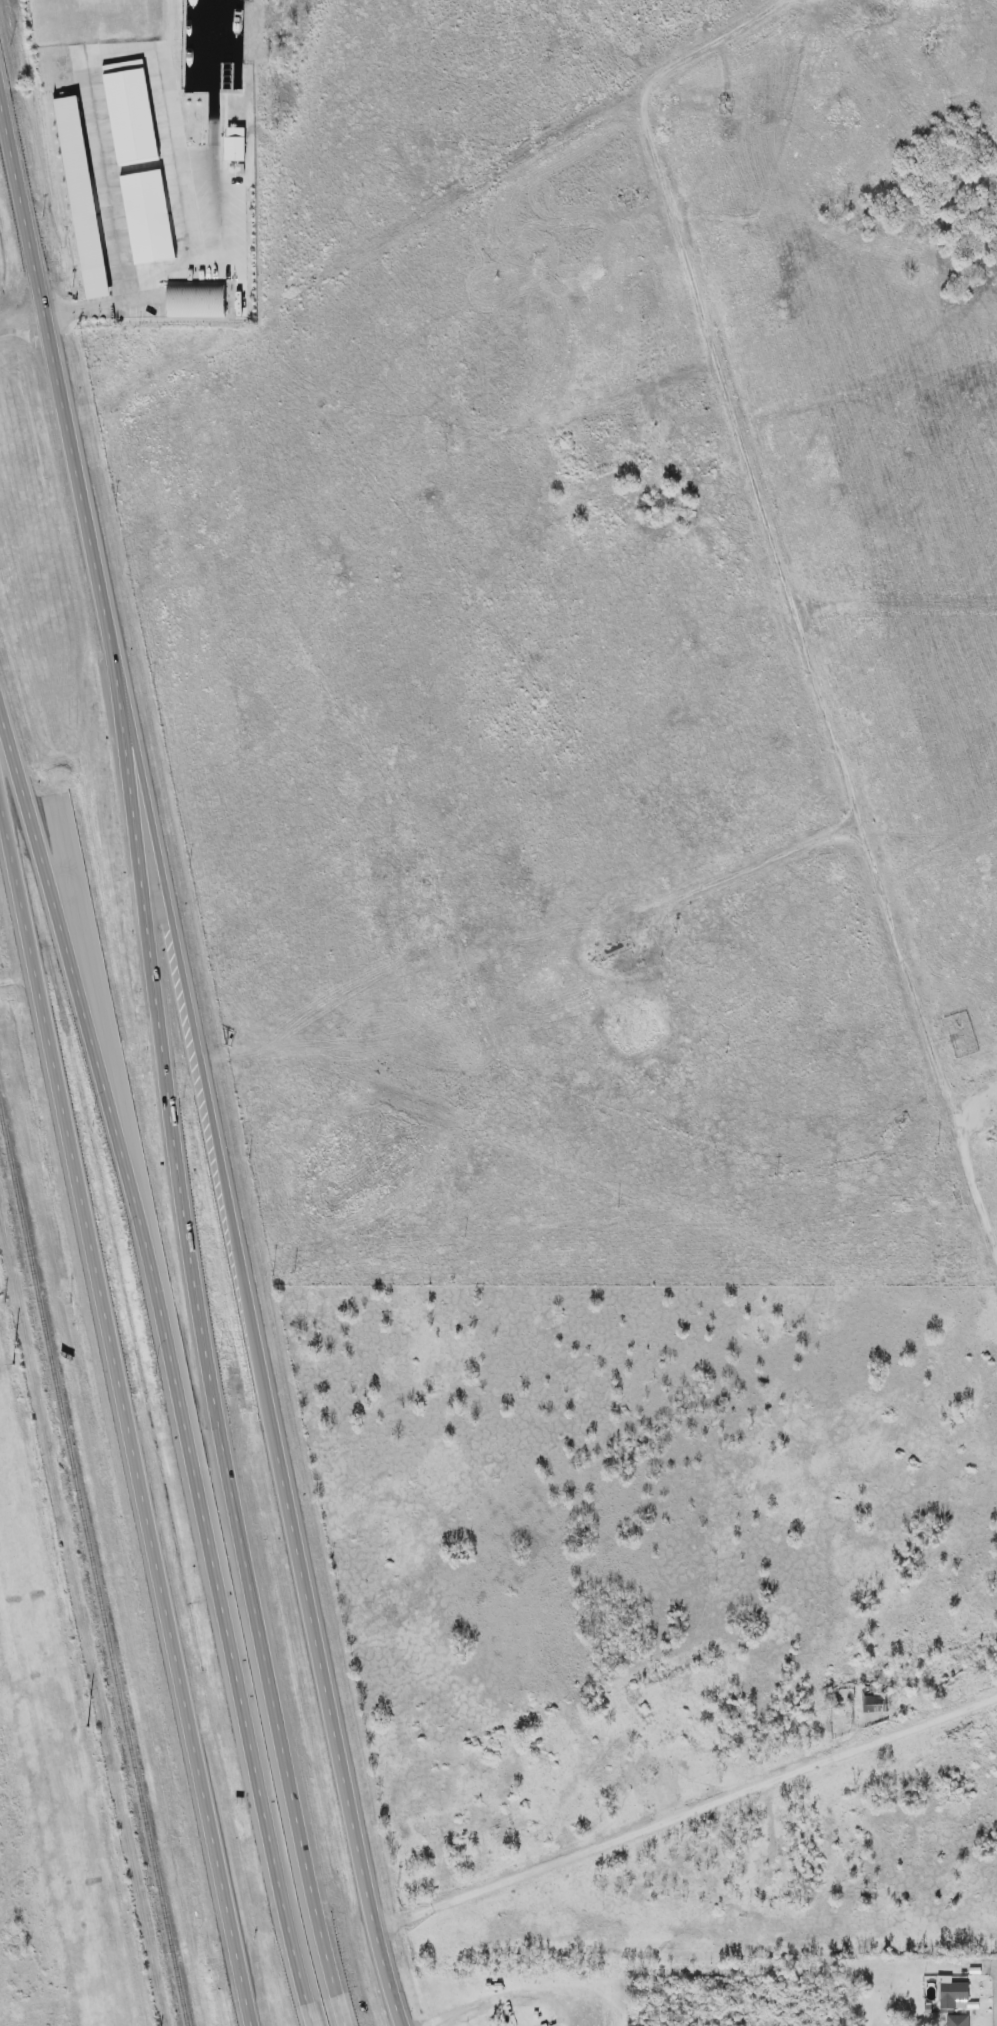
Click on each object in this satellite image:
building: (131, 113)
building: (235, 149)
building: (82, 197)
building: (148, 216)
building: (196, 299)
road: (101, 303)
road: (22, 319)
road: (49, 336)
road: (73, 962)
road: (906, 970)
road: (162, 1005)
road: (967, 1162)
road: (251, 1304)
power tower: (14, 1365)
road: (127, 1407)
railway: (94, 1569)
road: (224, 1624)
power tower: (89, 1728)
road: (276, 1728)
road: (688, 1815)
building: (953, 1994)
building: (958, 2020)

